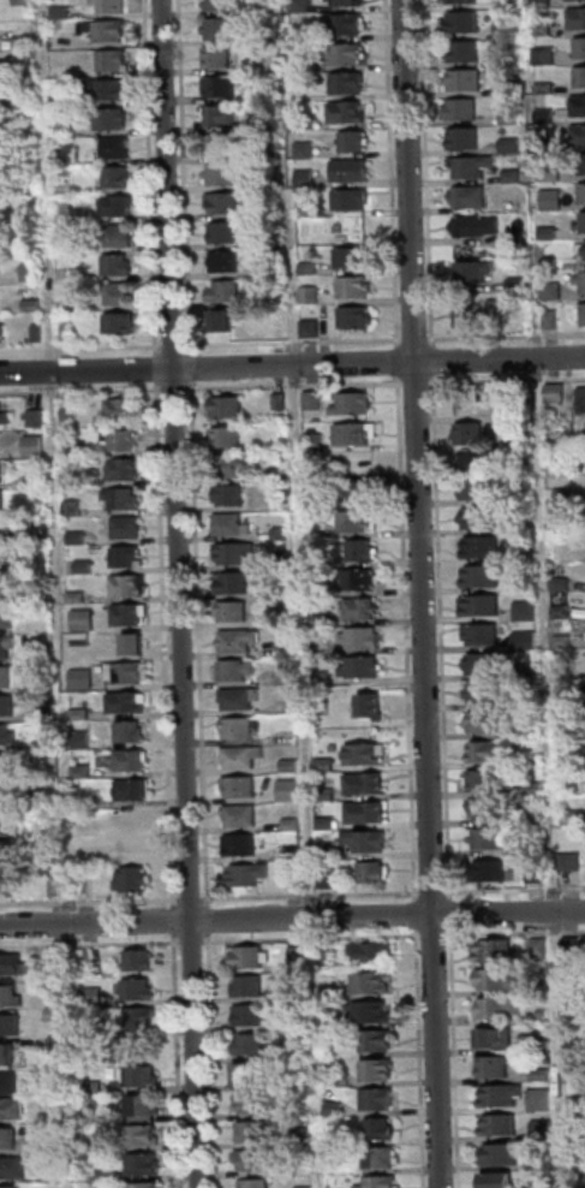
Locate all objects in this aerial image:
building: (25, 1)
building: (351, 1)
building: (465, 1)
building: (545, 2)
building: (221, 4)
building: (509, 4)
building: (113, 5)
building: (304, 5)
building: (64, 12)
building: (579, 18)
building: (465, 22)
building: (350, 24)
building: (545, 26)
building: (507, 28)
building: (222, 29)
building: (112, 30)
building: (268, 36)
building: (25, 42)
building: (509, 44)
building: (581, 47)
building: (466, 52)
building: (346, 53)
building: (548, 55)
building: (220, 58)
building: (115, 59)
building: (304, 61)
building: (581, 77)
building: (467, 81)
building: (350, 82)
building: (225, 85)
building: (109, 88)
building: (513, 88)
building: (548, 88)
building: (65, 101)
building: (580, 105)
building: (462, 109)
building: (350, 113)
building: (223, 115)
building: (548, 115)
building: (111, 118)
building: (513, 118)
building: (269, 121)
building: (306, 123)
building: (538, 131)
building: (580, 136)
building: (465, 138)
building: (356, 141)
building: (223, 143)
building: (513, 144)
building: (119, 147)
building: (308, 149)
building: (273, 150)
building: (68, 153)
building: (0, 155)
building: (32, 159)
building: (580, 160)
building: (473, 166)
building: (353, 170)
building: (226, 173)
road: (395, 173)
road: (429, 173)
building: (553, 174)
building: (514, 176)
building: (120, 177)
road: (153, 177)
road: (187, 178)
building: (308, 178)
building: (274, 183)
building: (31, 188)
building: (584, 191)
building: (471, 196)
building: (353, 198)
building: (553, 200)
building: (227, 202)
building: (120, 204)
building: (31, 216)
building: (581, 220)
building: (477, 225)
building: (226, 232)
building: (551, 232)
building: (121, 234)
building: (519, 238)
building: (29, 245)
building: (581, 248)
building: (354, 256)
building: (550, 260)
building: (227, 262)
building: (120, 263)
building: (274, 265)
building: (311, 267)
building: (1, 271)
building: (34, 271)
building: (476, 271)
building: (581, 279)
building: (519, 283)
building: (356, 286)
building: (555, 290)
building: (227, 291)
building: (121, 292)
building: (312, 296)
building: (34, 305)
building: (495, 309)
building: (581, 314)
building: (468, 315)
building: (357, 316)
building: (554, 319)
building: (225, 320)
building: (123, 322)
building: (314, 327)
building: (2, 329)
building: (67, 332)
building: (41, 333)
road: (508, 335)
road: (418, 338)
road: (296, 341)
road: (177, 346)
road: (83, 349)
road: (401, 362)
road: (435, 362)
road: (292, 364)
road: (195, 368)
road: (160, 369)
road: (508, 380)
road: (418, 382)
road: (297, 386)
road: (178, 390)
road: (83, 392)
building: (557, 392)
building: (583, 396)
building: (315, 400)
building: (282, 402)
building: (353, 404)
building: (229, 406)
building: (126, 409)
building: (6, 415)
building: (68, 416)
building: (40, 418)
building: (357, 433)
building: (472, 433)
building: (229, 436)
building: (125, 439)
building: (316, 441)
building: (36, 445)
building: (76, 449)
building: (565, 452)
building: (477, 459)
building: (237, 465)
building: (126, 468)
building: (1, 471)
building: (282, 474)
building: (38, 477)
building: (76, 479)
building: (479, 488)
building: (366, 492)
building: (567, 493)
building: (233, 495)
building: (280, 497)
building: (125, 498)
building: (322, 498)
building: (4, 501)
building: (76, 507)
building: (483, 517)
building: (360, 521)
building: (233, 524)
building: (130, 527)
building: (1, 530)
building: (285, 533)
building: (79, 537)
building: (483, 547)
building: (364, 550)
building: (235, 553)
building: (130, 556)
building: (6, 558)
building: (287, 559)
building: (86, 566)
building: (483, 576)
building: (362, 578)
building: (529, 582)
building: (234, 583)
building: (563, 583)
building: (131, 584)
building: (4, 589)
building: (286, 590)
building: (321, 590)
road: (183, 593)
road: (425, 593)
building: (44, 596)
building: (78, 596)
building: (482, 605)
building: (364, 608)
building: (235, 611)
building: (527, 611)
building: (563, 611)
building: (132, 613)
building: (289, 614)
building: (7, 617)
building: (85, 619)
building: (321, 619)
building: (483, 634)
building: (84, 637)
building: (363, 637)
road: (443, 637)
road: (408, 638)
building: (240, 640)
building: (527, 640)
building: (566, 642)
building: (137, 643)
road: (202, 645)
building: (7, 646)
road: (168, 646)
building: (289, 649)
building: (47, 653)
building: (484, 663)
building: (363, 667)
building: (238, 670)
building: (530, 670)
building: (131, 672)
building: (6, 676)
building: (288, 676)
building: (324, 677)
building: (84, 678)
building: (485, 693)
building: (241, 699)
building: (572, 700)
building: (129, 702)
building: (7, 705)
building: (372, 706)
building: (48, 714)
building: (83, 714)
building: (567, 718)
building: (486, 721)
building: (240, 727)
building: (532, 727)
building: (132, 731)
building: (7, 735)
building: (84, 739)
building: (50, 744)
building: (489, 752)
building: (366, 754)
building: (244, 756)
building: (135, 760)
building: (6, 764)
building: (327, 765)
building: (292, 766)
building: (86, 772)
building: (484, 779)
building: (368, 783)
building: (241, 786)
building: (532, 788)
building: (136, 790)
building: (291, 790)
building: (6, 792)
building: (328, 795)
building: (50, 797)
building: (85, 801)
building: (488, 808)
building: (368, 813)
building: (243, 815)
building: (574, 816)
building: (537, 818)
building: (136, 819)
building: (8, 822)
building: (328, 822)
building: (293, 825)
building: (92, 827)
building: (52, 830)
building: (489, 837)
building: (369, 840)
building: (241, 845)
building: (135, 848)
building: (7, 851)
building: (329, 853)
building: (294, 854)
building: (53, 856)
building: (89, 857)
building: (573, 861)
building: (493, 871)
building: (538, 871)
building: (374, 872)
building: (249, 874)
building: (136, 879)
building: (330, 879)
building: (7, 884)
building: (83, 884)
building: (58, 886)
road: (515, 890)
road: (435, 892)
road: (312, 896)
road: (193, 899)
road: (90, 902)
road: (453, 914)
road: (418, 915)
road: (292, 919)
road: (211, 921)
road: (177, 922)
road: (515, 933)
road: (436, 937)
road: (314, 939)
road: (195, 942)
road: (91, 944)
building: (542, 946)
building: (575, 946)
building: (496, 951)
building: (374, 952)
building: (299, 956)
building: (250, 957)
building: (328, 957)
building: (59, 958)
building: (86, 958)
building: (143, 961)
building: (14, 966)
building: (497, 980)
building: (372, 984)
building: (250, 986)
building: (575, 986)
building: (541, 987)
building: (55, 988)
building: (141, 990)
building: (334, 992)
building: (11, 996)
building: (95, 996)
building: (500, 1008)
building: (371, 1012)
building: (575, 1012)
building: (56, 1014)
building: (544, 1014)
building: (252, 1015)
building: (144, 1017)
building: (335, 1023)
building: (11, 1024)
building: (92, 1029)
building: (495, 1038)
building: (377, 1040)
building: (252, 1045)
building: (544, 1046)
building: (60, 1049)
building: (7, 1056)
road: (422, 1058)
road: (456, 1058)
road: (215, 1059)
road: (179, 1062)
building: (495, 1068)
building: (378, 1070)
building: (250, 1074)
building: (578, 1074)
building: (542, 1075)
building: (147, 1076)
building: (299, 1081)
building: (342, 1081)
building: (10, 1085)
building: (95, 1087)
building: (500, 1095)
building: (380, 1099)
building: (542, 1100)
building: (255, 1103)
building: (578, 1103)
building: (143, 1104)
building: (13, 1109)
building: (336, 1109)
building: (500, 1124)
building: (381, 1129)
building: (544, 1129)
building: (255, 1131)
building: (579, 1133)
building: (147, 1136)
building: (10, 1137)
building: (303, 1137)
building: (95, 1142)
building: (501, 1156)
building: (381, 1158)
building: (579, 1158)
building: (545, 1159)
building: (253, 1160)
building: (147, 1164)
building: (13, 1168)
building: (96, 1176)
building: (499, 1181)
building: (382, 1182)
building: (257, 1184)
building: (145, 1186)
building: (548, 1186)
building: (13, 1187)
building: (303, 1187)
building: (580, 1187)

